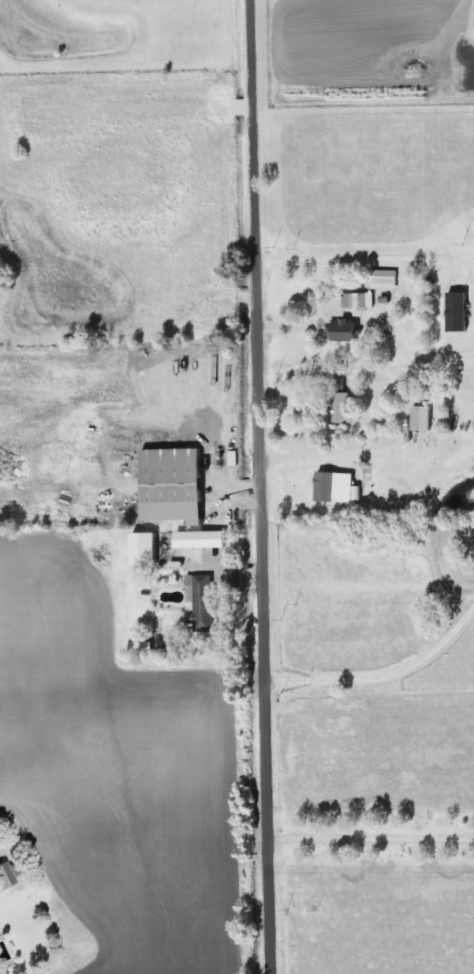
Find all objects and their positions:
road: (334, 297)
building: (354, 301)
building: (456, 310)
building: (342, 332)
road: (289, 394)
building: (338, 403)
building: (419, 419)
building: (171, 485)
road: (263, 486)
road: (234, 487)
building: (176, 539)
road: (233, 584)
building: (200, 602)
road: (383, 679)
road: (373, 840)
building: (4, 876)

